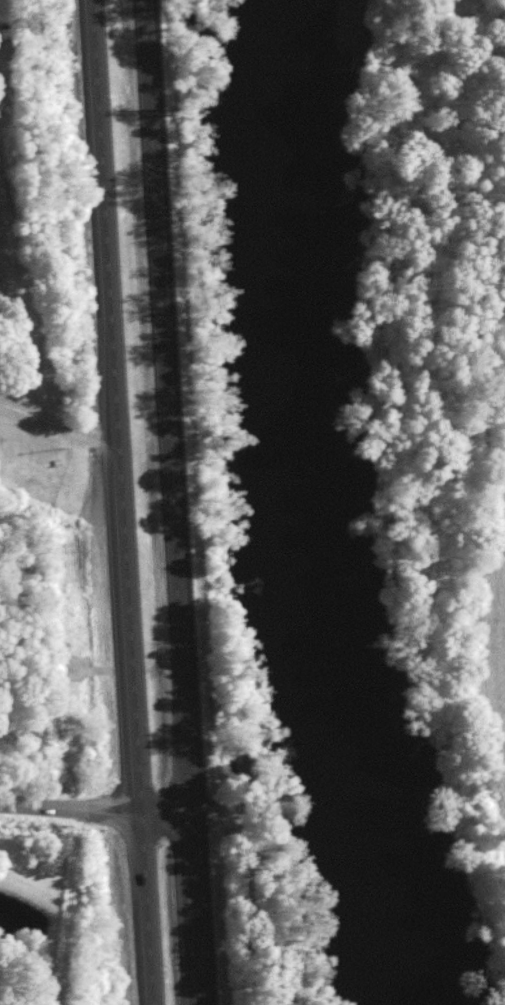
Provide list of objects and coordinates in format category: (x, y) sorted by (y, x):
road: (114, 408)
road: (170, 410)
road: (57, 430)
river: (326, 505)
road: (95, 813)
road: (145, 911)
road: (196, 913)

